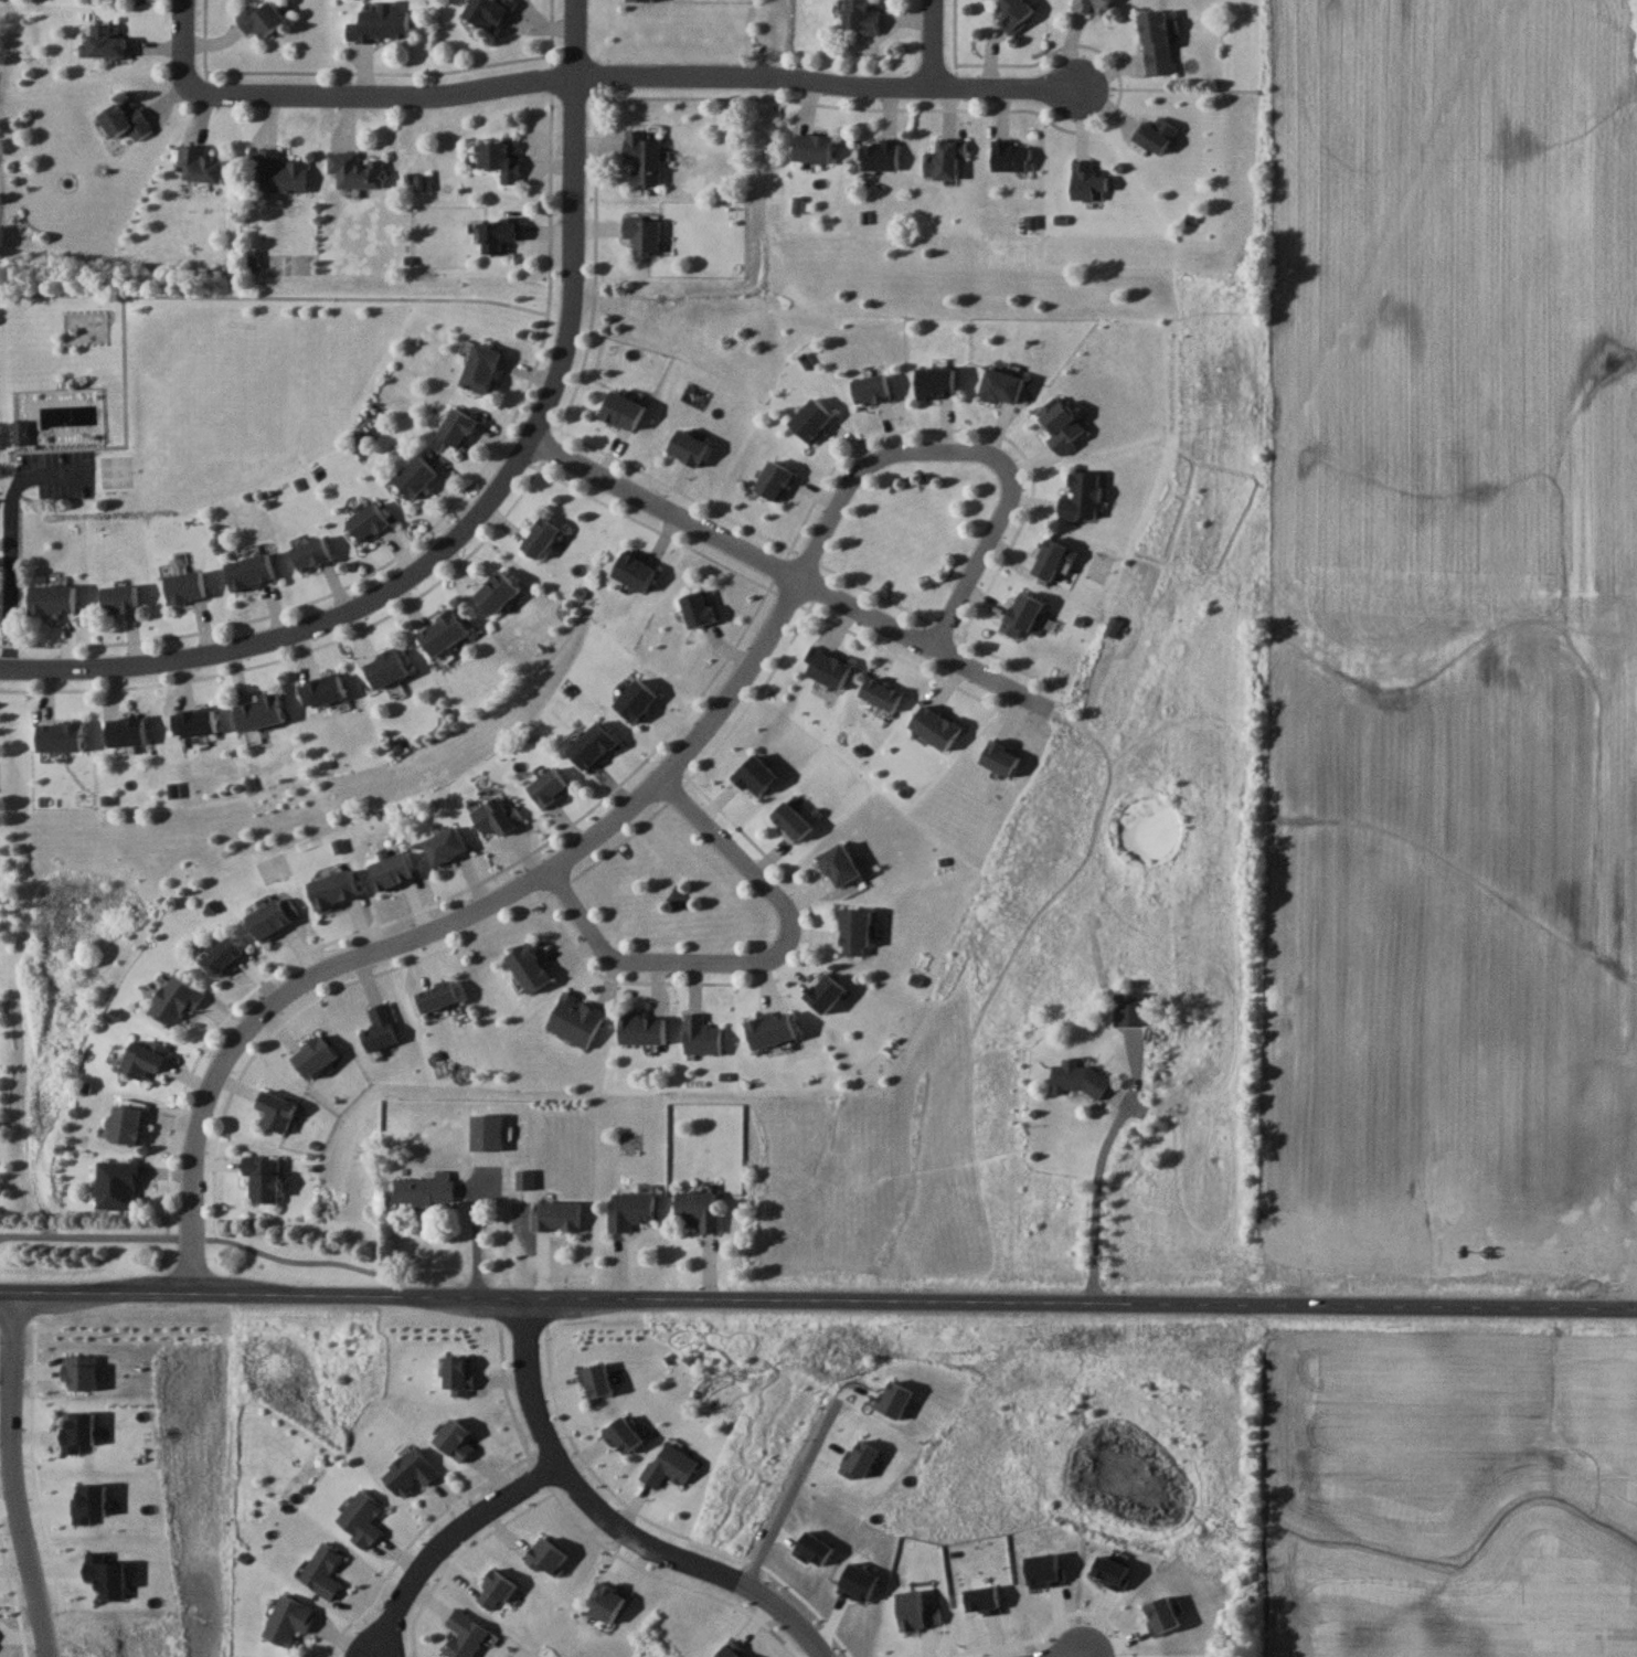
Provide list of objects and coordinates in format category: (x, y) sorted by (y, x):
building: (1091, 6)
building: (488, 12)
building: (1013, 13)
building: (861, 17)
building: (261, 19)
building: (380, 23)
building: (102, 41)
road: (935, 41)
building: (1157, 41)
road: (183, 44)
road: (365, 72)
road: (660, 76)
building: (125, 120)
building: (1155, 135)
building: (814, 147)
building: (880, 153)
building: (644, 156)
building: (1010, 156)
building: (501, 158)
building: (945, 159)
building: (199, 164)
building: (355, 170)
building: (278, 171)
building: (1087, 181)
building: (499, 234)
building: (642, 234)
building: (481, 368)
building: (936, 382)
building: (1002, 385)
building: (871, 389)
building: (623, 411)
building: (811, 421)
building: (1062, 426)
building: (457, 427)
building: (688, 447)
building: (415, 477)
building: (774, 481)
building: (1081, 497)
road: (488, 512)
building: (368, 521)
building: (540, 538)
road: (18, 539)
building: (311, 554)
building: (1050, 560)
building: (634, 571)
building: (251, 572)
road: (970, 572)
road: (793, 575)
building: (185, 587)
building: (497, 592)
building: (120, 598)
building: (53, 601)
building: (698, 608)
building: (1025, 610)
building: (443, 633)
building: (386, 669)
building: (829, 670)
building: (322, 690)
building: (881, 694)
building: (259, 713)
building: (195, 722)
building: (935, 727)
building: (127, 731)
building: (61, 737)
building: (593, 745)
building: (1001, 758)
building: (549, 787)
building: (497, 817)
building: (793, 820)
building: (445, 846)
road: (727, 847)
road: (582, 848)
building: (840, 864)
building: (332, 890)
building: (273, 917)
building: (855, 933)
building: (223, 956)
road: (661, 959)
building: (529, 968)
building: (826, 994)
building: (437, 997)
building: (176, 1001)
building: (1128, 1010)
building: (576, 1020)
building: (381, 1028)
building: (642, 1030)
building: (772, 1030)
building: (702, 1035)
building: (143, 1059)
building: (1077, 1079)
building: (276, 1111)
building: (127, 1125)
building: (509, 1138)
building: (263, 1179)
building: (524, 1179)
building: (118, 1186)
building: (425, 1190)
road: (1096, 1197)
building: (630, 1210)
building: (699, 1210)
building: (556, 1215)
road: (482, 1229)
road: (189, 1238)
road: (818, 1295)
building: (456, 1440)
building: (669, 1467)
building: (410, 1473)
road: (10, 1475)
road: (798, 1494)
road: (588, 1500)
building: (361, 1518)
road: (443, 1538)
building: (548, 1557)
building: (322, 1571)
building: (495, 1591)
building: (607, 1605)
building: (288, 1622)
road: (807, 1631)
building: (465, 1635)
road: (1060, 1654)

